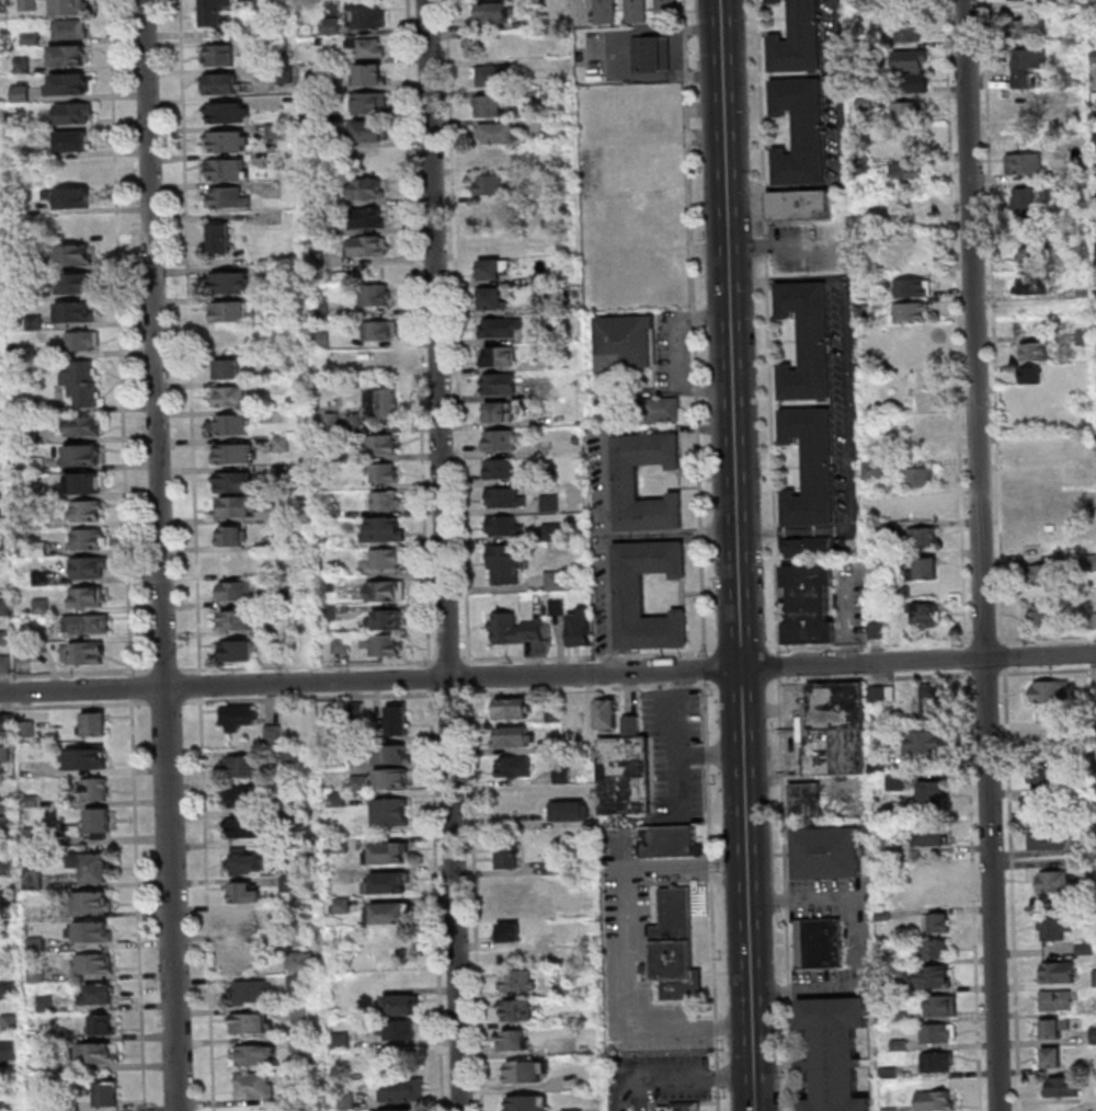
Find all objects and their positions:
building: (606, 0)
building: (635, 0)
building: (774, 0)
building: (561, 2)
building: (30, 4)
building: (667, 4)
building: (638, 5)
building: (72, 7)
building: (606, 7)
building: (215, 13)
building: (495, 13)
building: (368, 14)
building: (667, 16)
building: (607, 18)
building: (638, 18)
building: (333, 26)
building: (1029, 27)
building: (72, 28)
building: (909, 31)
building: (33, 39)
building: (797, 39)
building: (321, 42)
building: (283, 47)
building: (368, 48)
building: (71, 55)
road: (625, 55)
building: (653, 55)
building: (221, 56)
building: (582, 57)
building: (911, 59)
building: (24, 64)
building: (1026, 65)
building: (286, 75)
building: (372, 75)
building: (494, 76)
building: (319, 82)
building: (914, 82)
building: (70, 83)
building: (222, 83)
building: (23, 93)
building: (552, 94)
building: (1029, 102)
building: (373, 103)
building: (494, 106)
building: (907, 111)
building: (76, 113)
building: (229, 113)
building: (315, 115)
building: (13, 122)
building: (553, 127)
building: (370, 130)
building: (799, 130)
building: (275, 131)
building: (499, 133)
building: (228, 140)
building: (73, 141)
road: (840, 147)
building: (26, 151)
building: (494, 156)
building: (1024, 163)
building: (228, 169)
building: (909, 171)
building: (491, 185)
building: (367, 188)
building: (70, 197)
building: (230, 197)
building: (1026, 201)
building: (798, 205)
building: (498, 215)
building: (369, 218)
building: (543, 220)
building: (72, 226)
building: (318, 230)
building: (221, 239)
building: (318, 243)
building: (496, 243)
building: (369, 247)
building: (1031, 255)
building: (75, 256)
building: (317, 260)
building: (20, 264)
building: (495, 268)
building: (276, 275)
building: (547, 280)
building: (78, 284)
building: (233, 284)
building: (1027, 284)
building: (913, 287)
building: (376, 295)
building: (493, 299)
building: (277, 302)
building: (545, 308)
building: (322, 309)
building: (912, 310)
building: (76, 311)
building: (231, 312)
building: (35, 322)
building: (503, 328)
road: (696, 329)
building: (381, 330)
road: (459, 332)
road: (420, 333)
road: (191, 337)
road: (122, 339)
building: (82, 341)
building: (322, 341)
building: (806, 342)
building: (625, 344)
building: (910, 345)
building: (1031, 351)
building: (28, 352)
road: (678, 354)
building: (502, 357)
building: (378, 358)
building: (229, 369)
building: (1030, 374)
building: (83, 383)
building: (502, 385)
building: (233, 397)
building: (384, 403)
road: (846, 403)
building: (34, 406)
building: (664, 410)
building: (499, 412)
building: (618, 414)
building: (333, 424)
building: (235, 425)
building: (82, 426)
building: (30, 436)
building: (578, 439)
building: (503, 440)
building: (283, 445)
building: (383, 445)
building: (1041, 449)
building: (237, 454)
building: (83, 455)
building: (810, 467)
building: (2, 468)
building: (502, 469)
building: (386, 473)
building: (921, 476)
building: (1042, 477)
building: (627, 482)
building: (236, 483)
building: (83, 484)
building: (34, 492)
building: (506, 499)
building: (387, 502)
building: (551, 504)
building: (1043, 504)
building: (240, 506)
building: (921, 507)
building: (88, 511)
building: (283, 513)
building: (39, 523)
building: (506, 527)
building: (1044, 530)
building: (386, 531)
building: (555, 532)
building: (923, 536)
building: (232, 537)
building: (90, 540)
building: (284, 542)
building: (4, 550)
building: (43, 550)
road: (446, 554)
road: (159, 555)
road: (737, 555)
road: (774, 555)
road: (980, 555)
building: (389, 559)
building: (237, 563)
building: (506, 564)
building: (90, 568)
building: (925, 568)
building: (284, 569)
building: (1047, 573)
building: (44, 579)
building: (557, 581)
building: (328, 584)
building: (237, 592)
building: (388, 592)
building: (631, 595)
building: (91, 597)
building: (285, 597)
building: (808, 604)
building: (559, 606)
building: (43, 607)
building: (7, 608)
building: (330, 614)
building: (1043, 614)
building: (926, 615)
building: (240, 621)
building: (386, 621)
building: (90, 623)
building: (514, 629)
building: (582, 629)
building: (5, 639)
building: (342, 645)
building: (385, 646)
building: (282, 651)
building: (240, 652)
building: (27, 653)
building: (89, 654)
road: (584, 657)
road: (449, 662)
building: (7, 664)
road: (308, 667)
road: (706, 671)
road: (165, 672)
road: (76, 674)
road: (548, 675)
road: (469, 677)
road: (431, 678)
road: (707, 684)
road: (202, 686)
road: (134, 688)
building: (1049, 690)
road: (450, 694)
road: (311, 698)
building: (933, 701)
road: (167, 702)
road: (275, 705)
road: (75, 706)
building: (513, 709)
building: (357, 711)
road: (213, 712)
building: (555, 714)
building: (609, 714)
building: (576, 717)
building: (240, 718)
building: (400, 721)
building: (94, 722)
building: (837, 722)
building: (9, 723)
building: (633, 726)
building: (30, 730)
building: (275, 736)
building: (356, 737)
building: (515, 737)
building: (1050, 737)
building: (926, 742)
building: (496, 745)
building: (558, 746)
building: (359, 754)
building: (5, 755)
road: (225, 755)
building: (393, 755)
road: (711, 755)
building: (294, 756)
road: (681, 757)
building: (84, 758)
road: (215, 766)
building: (249, 767)
building: (516, 767)
building: (564, 776)
building: (627, 777)
road: (709, 778)
building: (393, 779)
building: (1047, 780)
building: (359, 783)
building: (94, 788)
building: (932, 790)
building: (246, 798)
building: (806, 799)
building: (339, 800)
building: (33, 802)
building: (8, 805)
building: (571, 811)
building: (393, 813)
building: (295, 816)
building: (99, 820)
building: (9, 823)
building: (593, 825)
building: (249, 828)
building: (931, 835)
building: (36, 837)
building: (7, 838)
building: (1044, 839)
building: (670, 843)
building: (341, 846)
building: (289, 848)
building: (826, 851)
building: (389, 855)
building: (510, 856)
road: (715, 862)
building: (242, 863)
building: (91, 864)
building: (556, 868)
building: (7, 869)
road: (740, 869)
road: (715, 875)
building: (34, 878)
building: (1054, 881)
building: (289, 885)
building: (387, 885)
building: (247, 894)
building: (9, 898)
road: (436, 900)
building: (92, 901)
road: (476, 901)
road: (802, 901)
road: (209, 904)
road: (139, 905)
building: (343, 906)
building: (389, 915)
building: (244, 921)
building: (936, 921)
building: (1054, 926)
building: (93, 932)
building: (511, 934)
building: (304, 939)
building: (819, 942)
building: (676, 949)
building: (935, 949)
building: (507, 955)
building: (94, 961)
building: (304, 963)
building: (1057, 971)
building: (38, 975)
road: (624, 976)
building: (933, 976)
building: (298, 983)
building: (518, 983)
building: (569, 988)
building: (12, 990)
building: (98, 993)
building: (252, 993)
building: (1057, 998)
building: (47, 1005)
building: (939, 1005)
building: (1095, 1005)
building: (401, 1007)
building: (520, 1012)
building: (301, 1016)
building: (11, 1022)
building: (101, 1023)
building: (253, 1026)
building: (1050, 1027)
building: (401, 1030)
building: (937, 1032)
building: (341, 1041)
building: (517, 1041)
building: (300, 1044)
building: (503, 1045)
building: (11, 1050)
building: (833, 1051)
building: (98, 1053)
building: (255, 1056)
building: (1049, 1056)
building: (937, 1062)
building: (56, 1066)
building: (545, 1068)
building: (526, 1074)
road: (675, 1080)
building: (1061, 1086)
building: (255, 1087)
building: (403, 1091)
building: (107, 1093)
building: (935, 1099)
building: (347, 1102)
building: (528, 1103)
building: (70, 1107)
building: (3, 1108)
building: (683, 1109)
building: (396, 1110)
building: (527, 1110)
building: (578, 1110)

